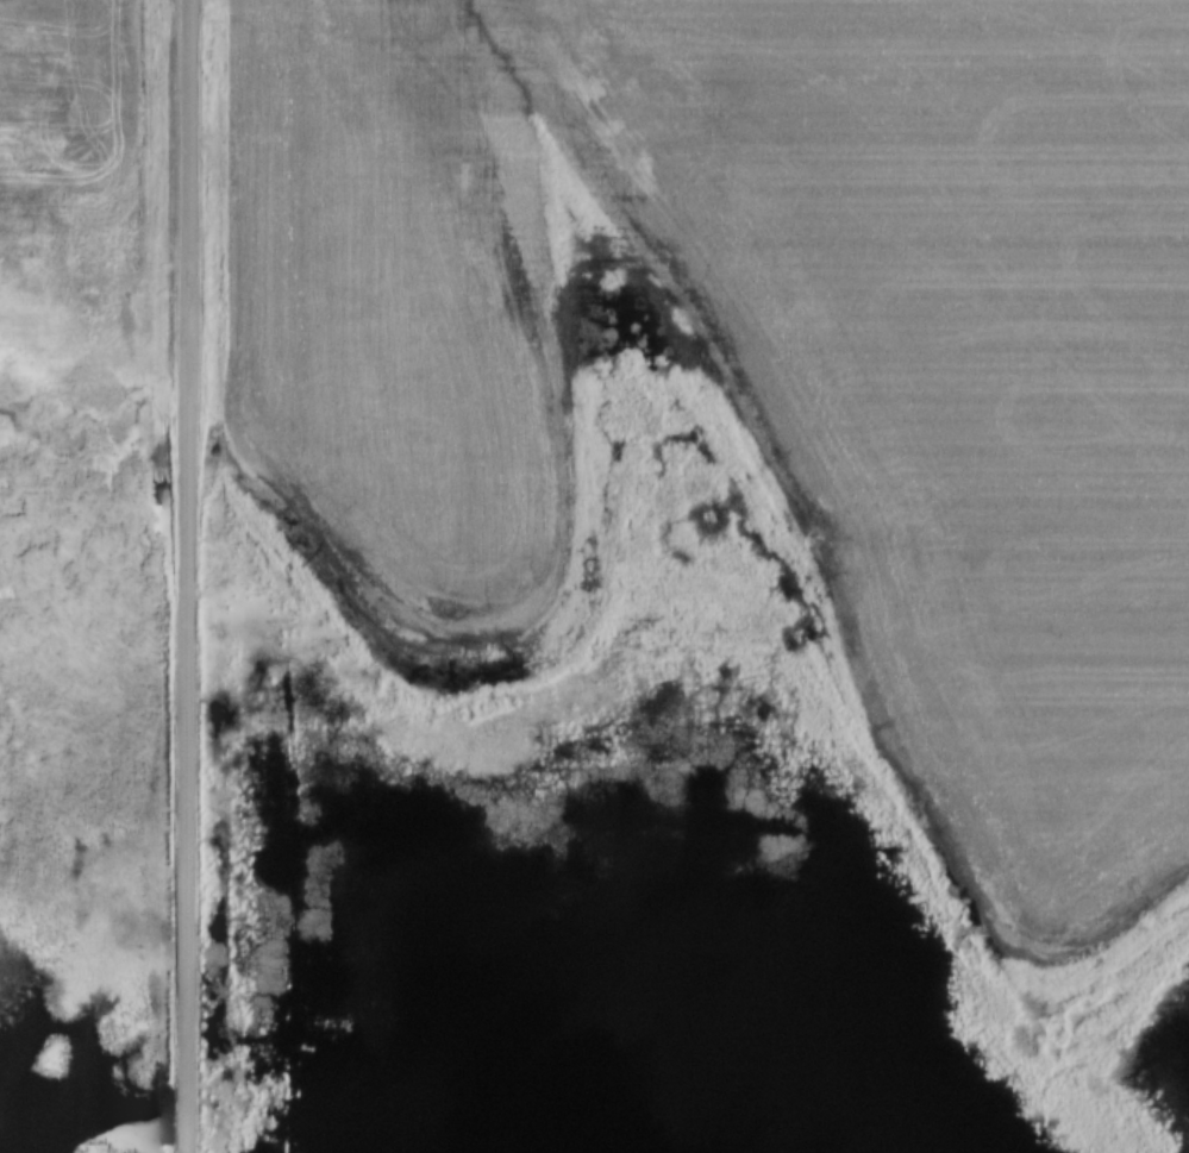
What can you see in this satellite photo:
road: (187, 576)

